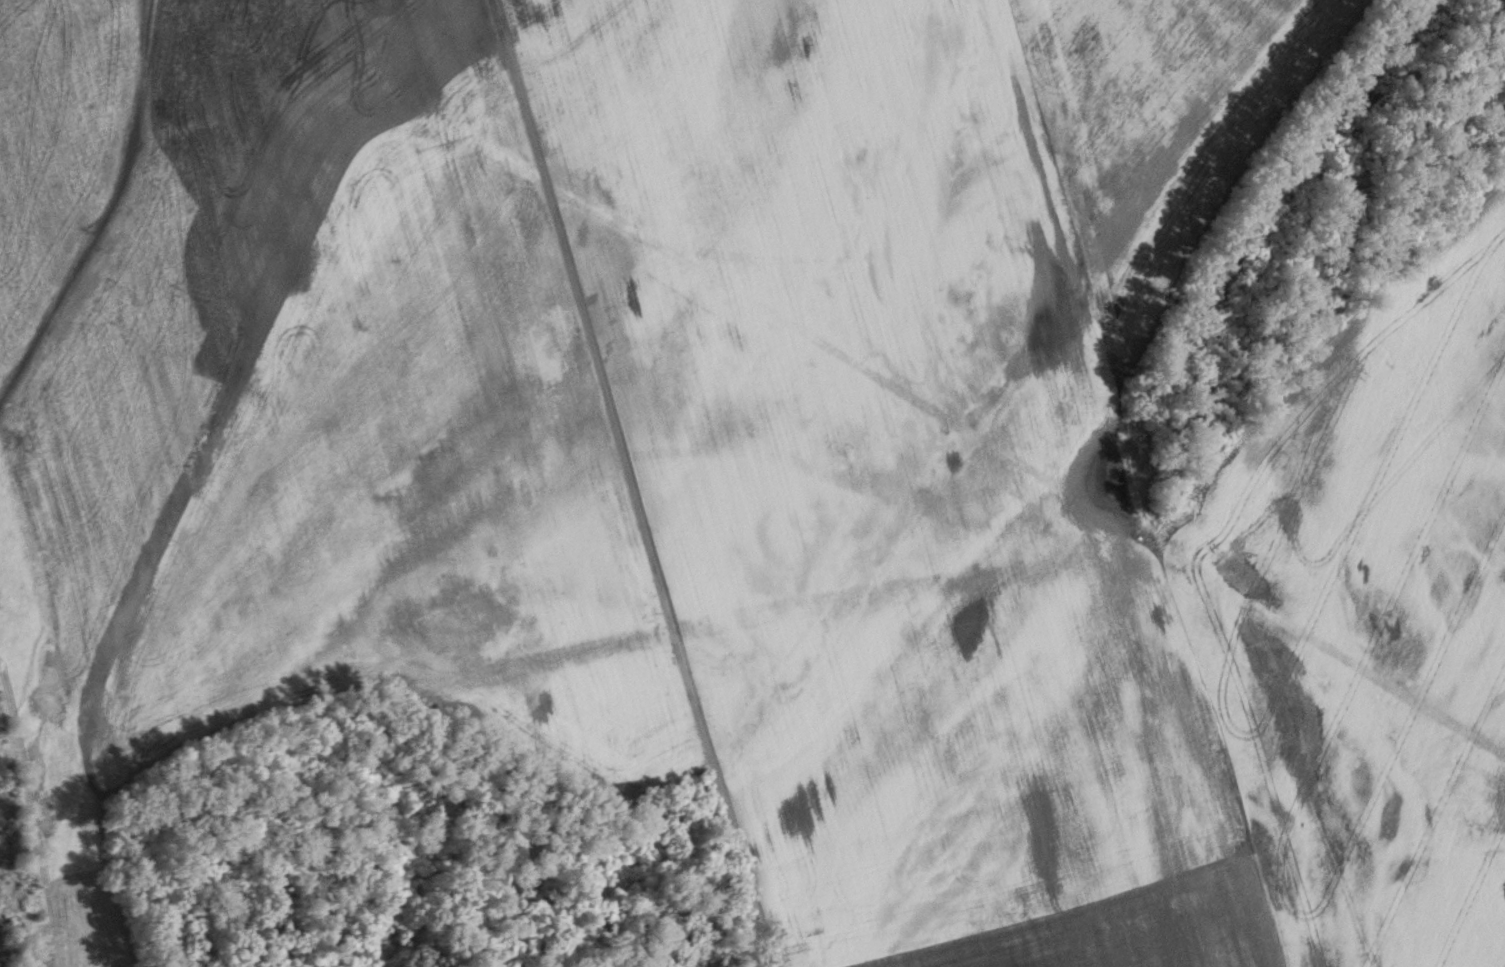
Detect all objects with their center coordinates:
road: (603, 387)
crop: (773, 450)
road: (742, 871)

